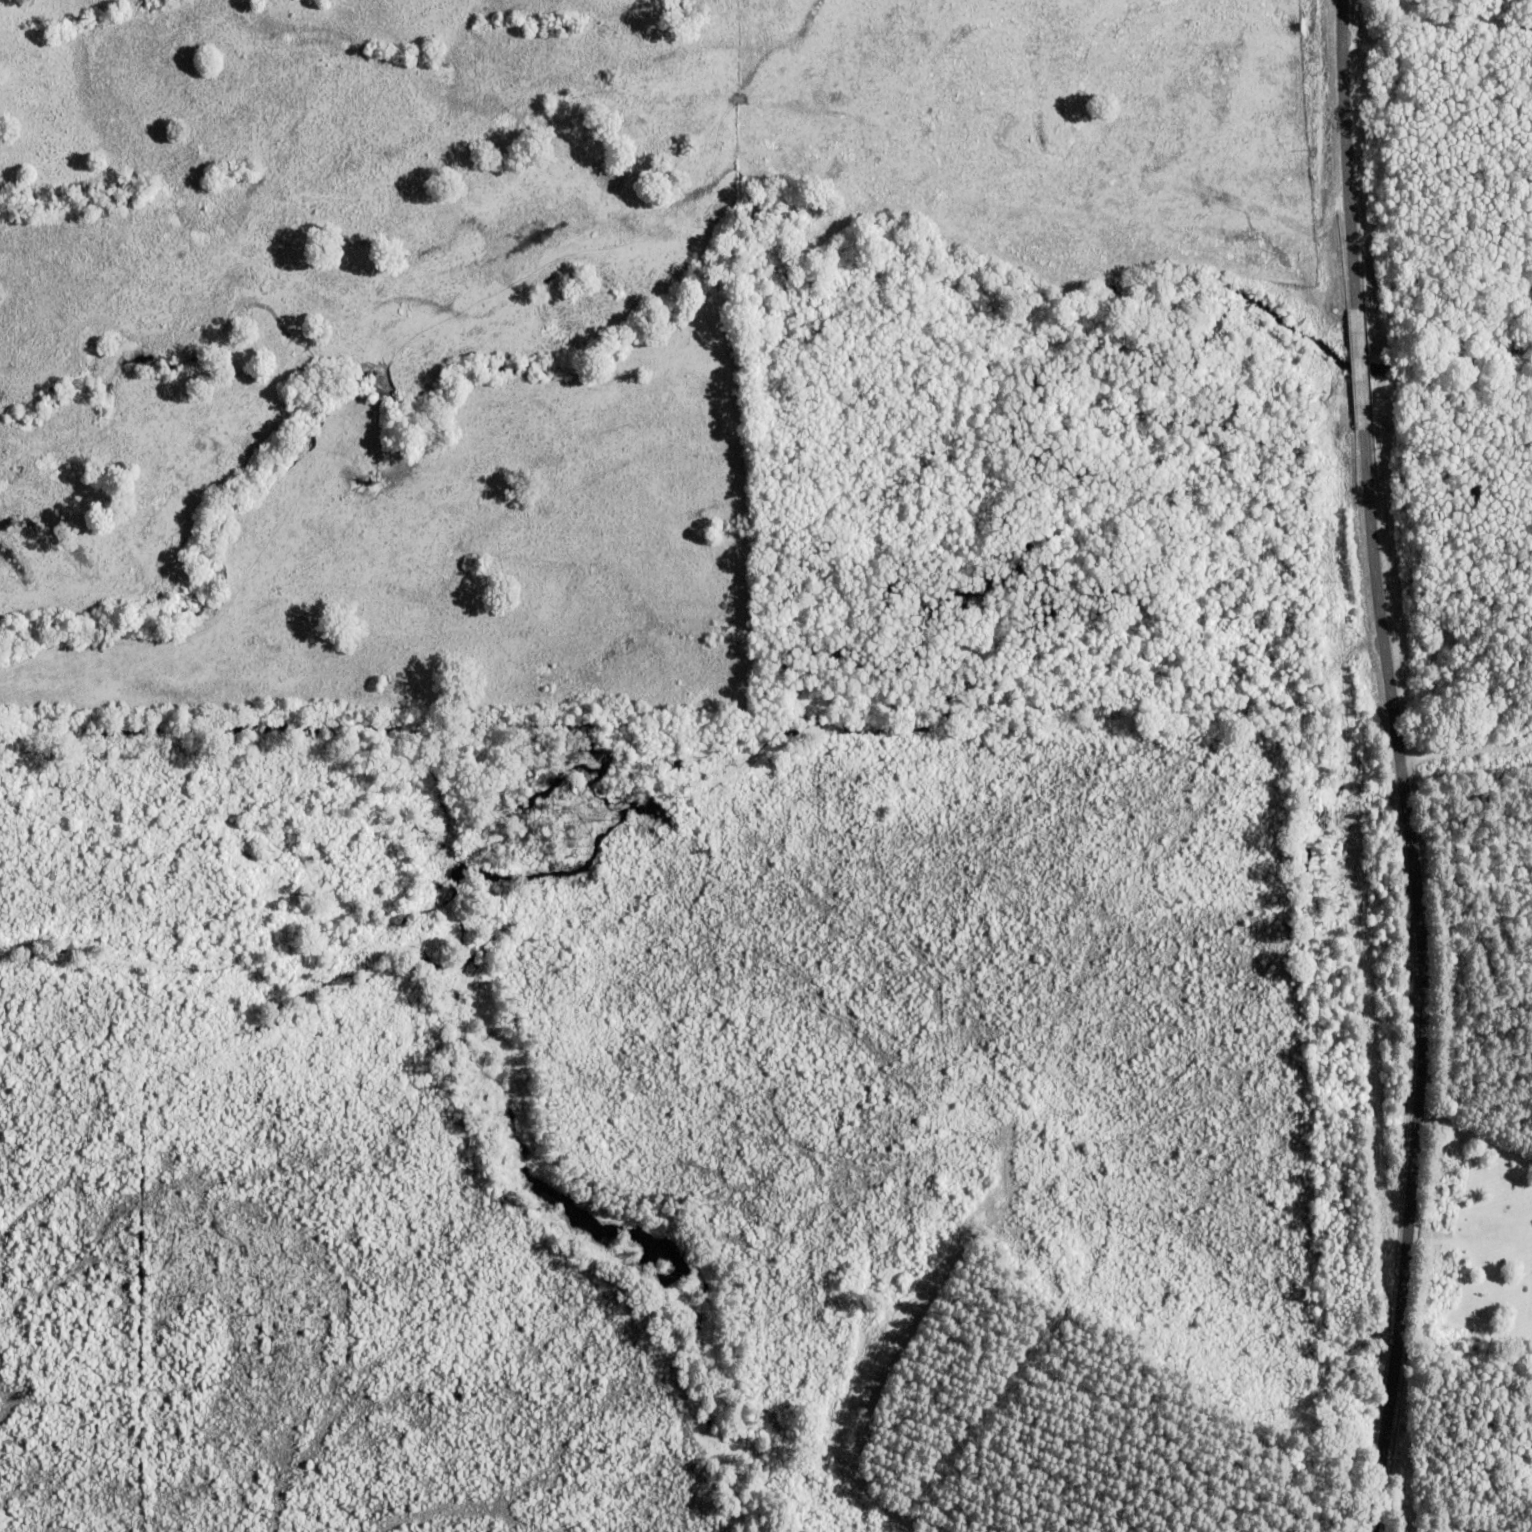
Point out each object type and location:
road: (1403, 766)

